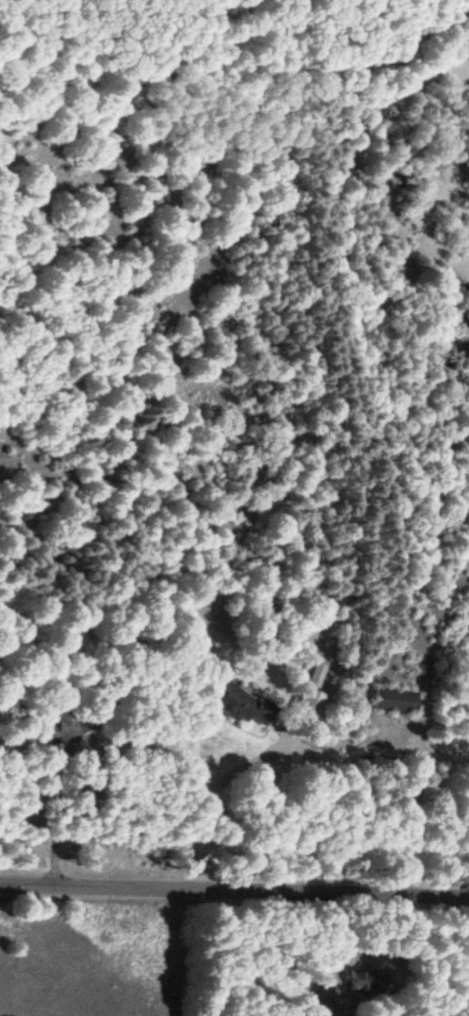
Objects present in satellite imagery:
building: (391, 701)
building: (235, 703)
building: (305, 706)
road: (234, 894)

